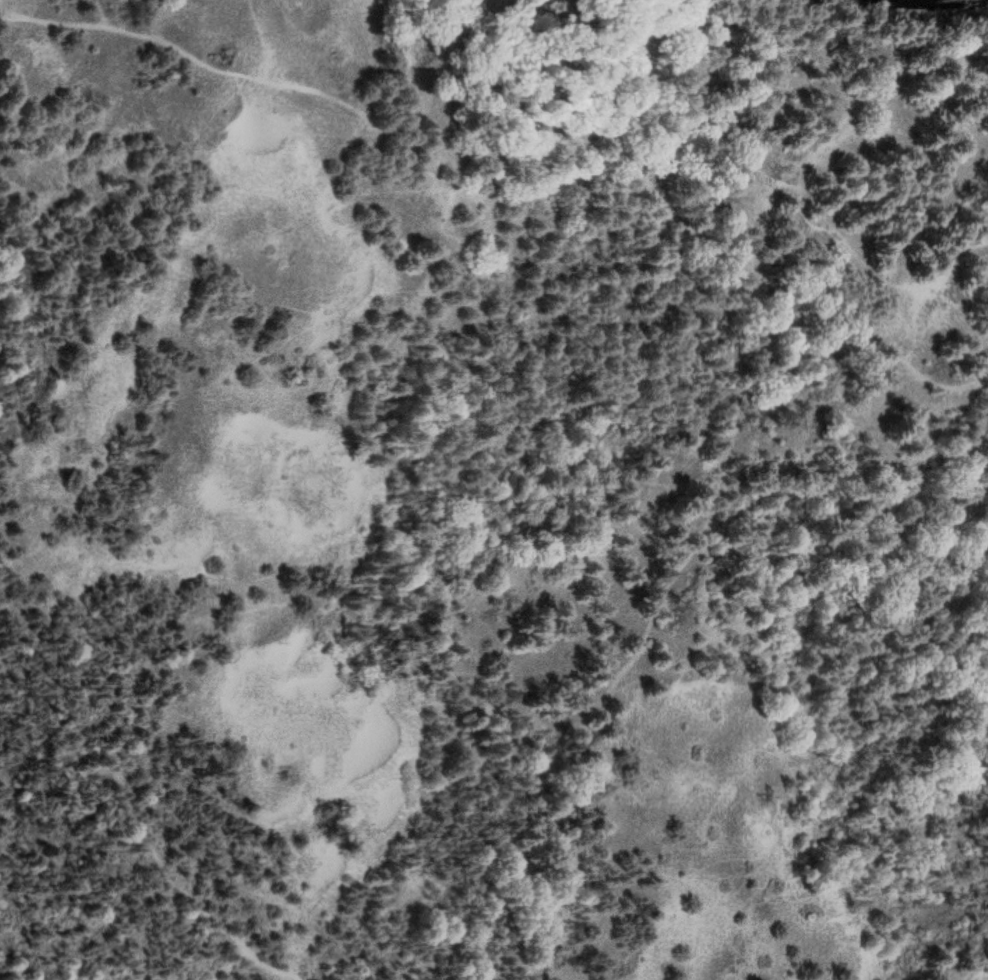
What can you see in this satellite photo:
road: (880, 8)
road: (957, 8)
road: (960, 15)
road: (513, 198)
road: (972, 372)
park: (494, 490)
road: (624, 661)
road: (144, 835)

